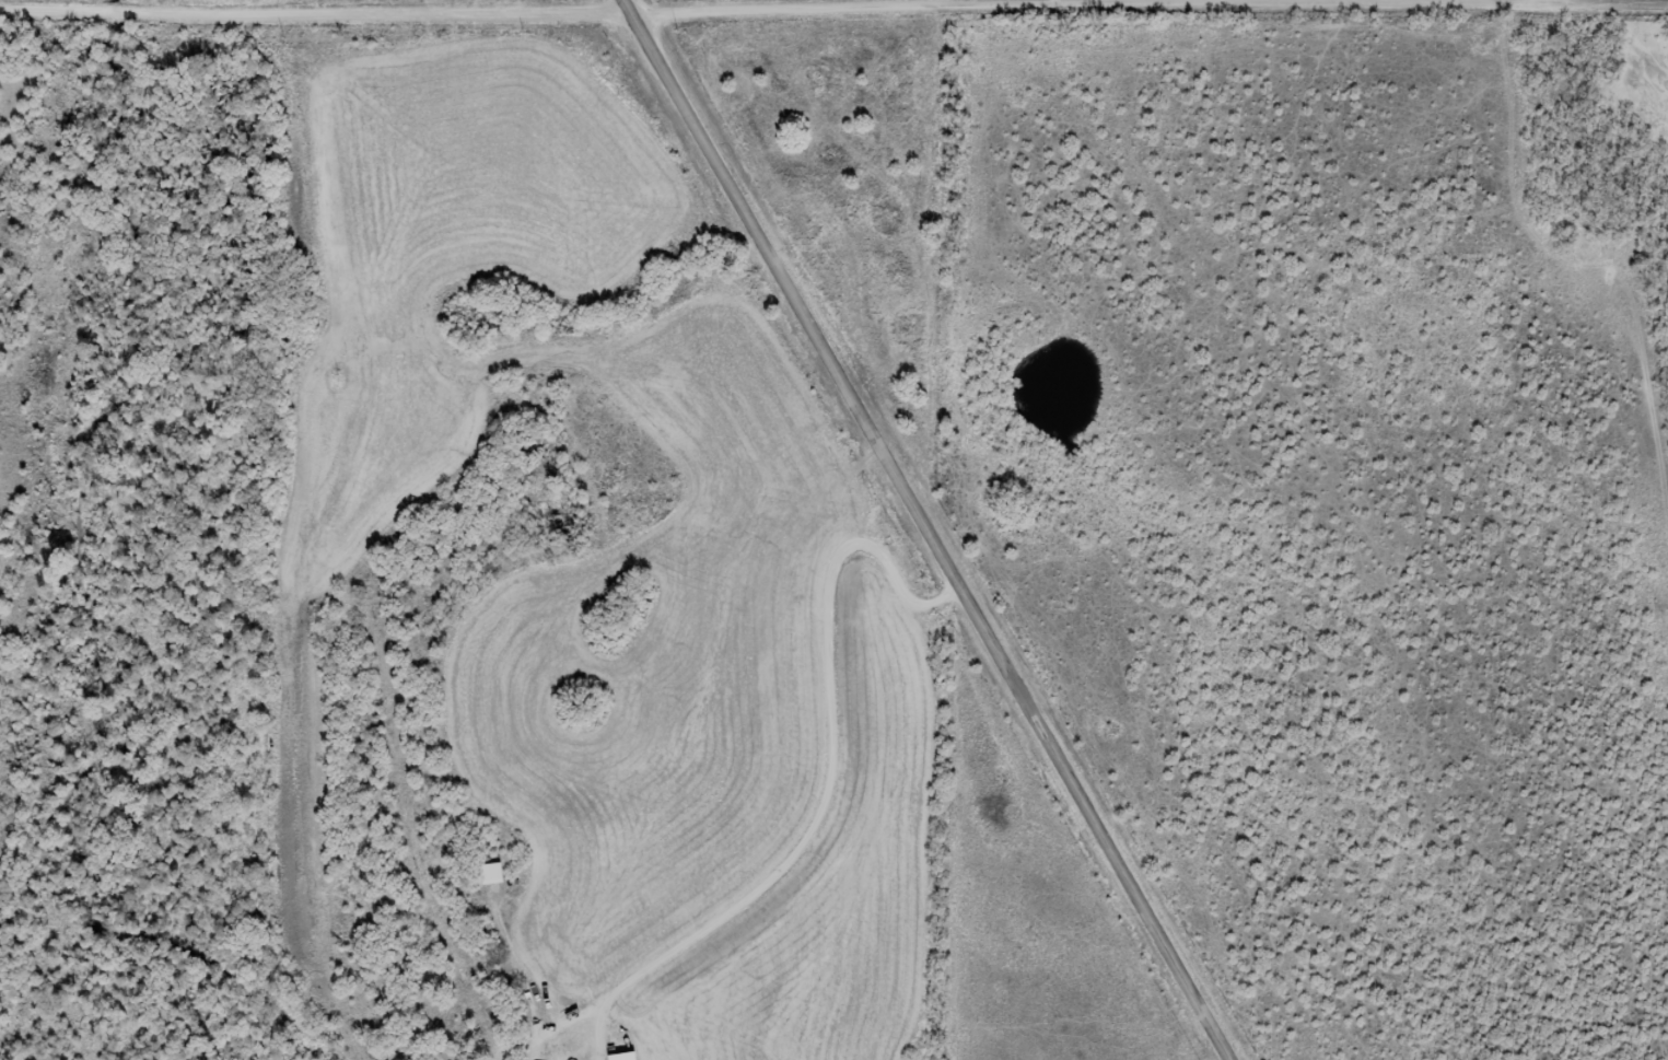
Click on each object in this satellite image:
road: (832, 5)
road: (929, 529)
road: (751, 758)
building: (488, 873)

